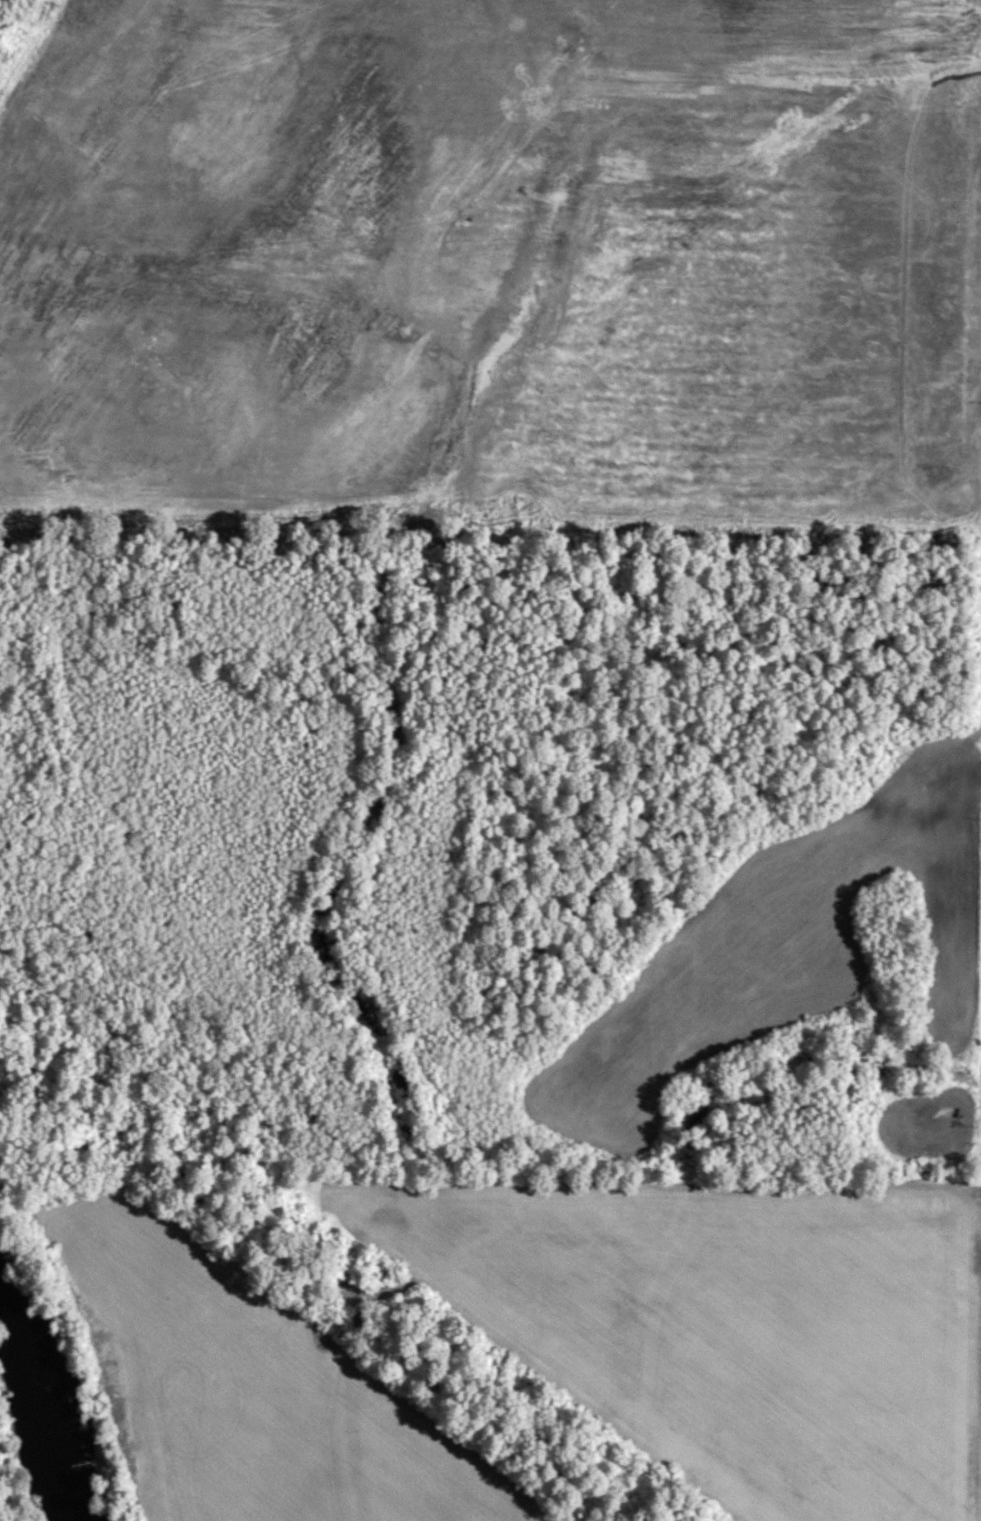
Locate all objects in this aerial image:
road: (782, 1283)
river: (27, 1432)

